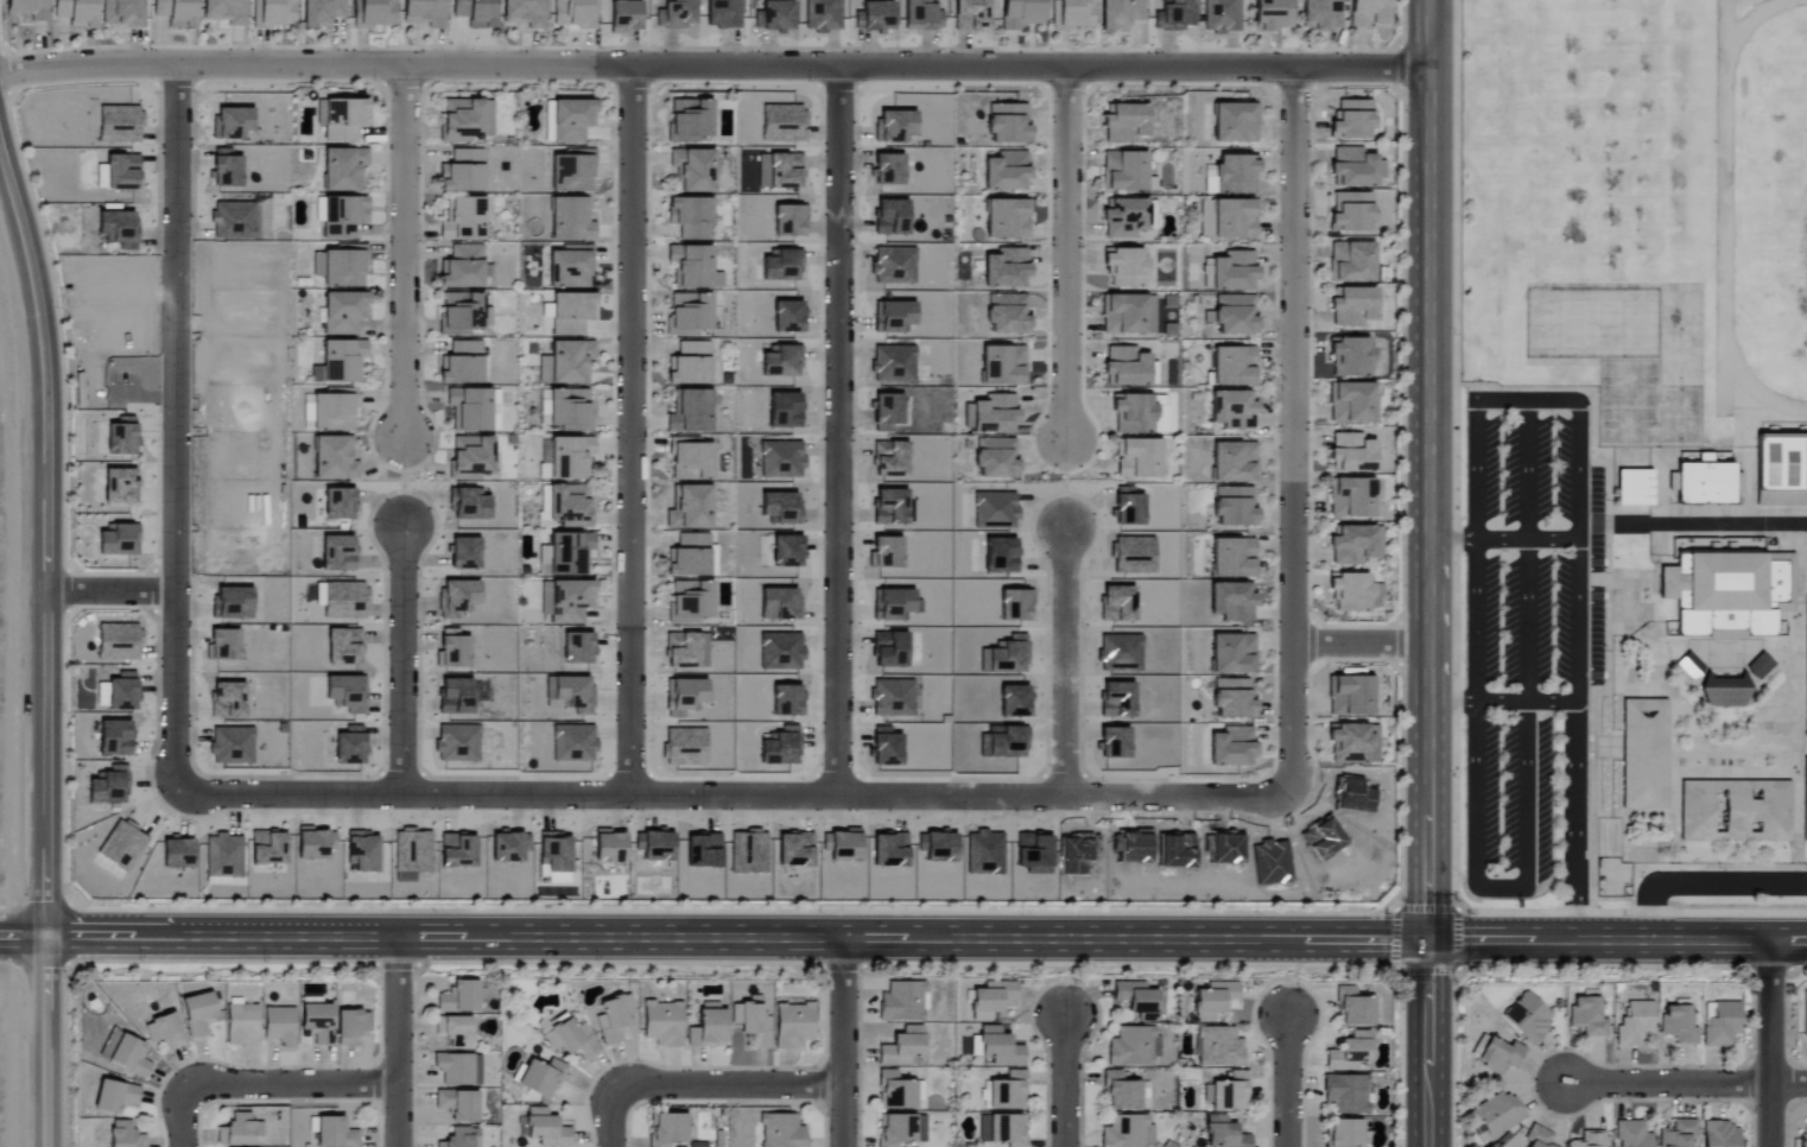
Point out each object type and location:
building: (27, 9)
building: (175, 12)
building: (224, 12)
building: (75, 13)
building: (121, 13)
building: (275, 13)
building: (319, 13)
building: (374, 13)
building: (424, 13)
building: (475, 13)
building: (524, 13)
building: (572, 13)
building: (676, 14)
building: (722, 14)
building: (1021, 14)
building: (1072, 14)
building: (1120, 14)
building: (1321, 14)
building: (1369, 14)
building: (823, 15)
building: (920, 15)
building: (970, 15)
building: (1175, 15)
building: (1273, 15)
building: (624, 17)
building: (774, 17)
building: (874, 17)
building: (1222, 17)
road: (712, 68)
park: (1554, 119)
building: (343, 120)
building: (467, 120)
building: (1352, 120)
building: (571, 121)
building: (689, 121)
building: (232, 123)
building: (781, 123)
building: (1126, 123)
building: (1236, 123)
building: (119, 125)
building: (894, 125)
building: (1008, 125)
building: (1352, 169)
building: (226, 170)
building: (343, 170)
building: (693, 170)
building: (887, 170)
building: (121, 171)
building: (784, 171)
building: (462, 172)
building: (572, 172)
building: (1007, 172)
building: (1124, 172)
building: (1232, 176)
park: (1758, 210)
building: (1351, 213)
building: (342, 217)
building: (690, 217)
building: (890, 217)
building: (1123, 218)
building: (463, 220)
building: (570, 220)
building: (1007, 220)
building: (1228, 220)
building: (232, 221)
building: (786, 221)
building: (116, 229)
road: (402, 252)
road: (1065, 254)
building: (1352, 264)
building: (341, 267)
building: (690, 267)
building: (1126, 267)
building: (462, 268)
building: (568, 270)
building: (1007, 270)
building: (1235, 272)
building: (1206, 273)
building: (1353, 308)
building: (343, 313)
building: (462, 313)
building: (571, 315)
building: (689, 315)
building: (1007, 315)
building: (1124, 315)
building: (1234, 316)
building: (1350, 359)
building: (342, 362)
building: (570, 362)
building: (461, 365)
building: (689, 365)
building: (1003, 367)
building: (1234, 367)
building: (1126, 368)
building: (543, 370)
building: (1351, 404)
building: (474, 410)
building: (569, 410)
building: (1234, 410)
building: (332, 411)
building: (690, 413)
building: (994, 416)
building: (1133, 416)
road: (1477, 418)
road: (179, 430)
road: (630, 431)
road: (838, 432)
road: (1295, 436)
building: (120, 438)
building: (1351, 455)
building: (470, 457)
building: (570, 458)
building: (334, 460)
building: (996, 460)
building: (1137, 460)
building: (690, 461)
building: (1235, 463)
road: (1527, 469)
building: (1781, 469)
building: (1704, 479)
building: (1631, 486)
building: (119, 487)
building: (1351, 499)
building: (337, 505)
building: (468, 505)
building: (564, 506)
building: (690, 508)
building: (1235, 508)
road: (1502, 538)
building: (118, 541)
building: (1355, 545)
road: (1579, 552)
building: (337, 555)
building: (463, 555)
building: (570, 555)
building: (689, 557)
building: (1234, 559)
building: (544, 562)
road: (1426, 573)
building: (1727, 587)
road: (114, 592)
building: (1355, 594)
building: (456, 598)
building: (566, 598)
building: (341, 601)
building: (690, 602)
building: (1232, 603)
building: (230, 604)
road: (1476, 620)
road: (1527, 620)
building: (118, 642)
road: (47, 645)
building: (222, 646)
building: (342, 647)
road: (1361, 647)
building: (452, 649)
building: (576, 649)
building: (681, 649)
building: (1234, 655)
road: (402, 659)
road: (1066, 665)
building: (1689, 665)
building: (1760, 665)
building: (1806, 672)
building: (1724, 690)
building: (121, 693)
building: (570, 693)
building: (345, 695)
building: (685, 696)
building: (1350, 697)
building: (455, 698)
building: (1232, 701)
building: (227, 702)
road: (1502, 702)
building: (114, 739)
building: (573, 743)
building: (457, 744)
building: (1350, 744)
building: (232, 746)
building: (350, 748)
building: (684, 748)
building: (1232, 748)
building: (1644, 752)
building: (107, 786)
road: (729, 796)
building: (1805, 798)
building: (1735, 810)
road: (1578, 822)
building: (313, 843)
building: (122, 845)
building: (508, 847)
building: (608, 847)
building: (267, 848)
building: (456, 850)
building: (361, 851)
building: (176, 853)
building: (411, 855)
building: (223, 856)
building: (554, 856)
road: (1704, 887)
road: (1502, 888)
road: (24, 934)
road: (926, 940)
road: (1456, 969)
building: (458, 997)
building: (991, 1000)
building: (1136, 1000)
building: (1213, 1000)
building: (901, 1002)
building: (1353, 1008)
building: (197, 1014)
building: (1586, 1016)
building: (1527, 1018)
building: (613, 1019)
building: (1805, 1020)
building: (316, 1022)
building: (752, 1022)
building: (240, 1024)
building: (662, 1024)
building: (1635, 1024)
building: (1678, 1024)
building: (793, 1025)
building: (279, 1026)
building: (349, 1026)
building: (708, 1029)
building: (164, 1031)
building: (454, 1031)
building: (570, 1039)
road: (395, 1041)
road: (843, 1043)
road: (1769, 1043)
building: (901, 1047)
building: (1000, 1047)
building: (1131, 1047)
building: (1217, 1047)
building: (1350, 1052)
building: (125, 1053)
building: (1500, 1056)
building: (458, 1069)
building: (541, 1077)
road: (1063, 1081)
road: (1285, 1081)
road: (1685, 1083)
road: (289, 1085)
road: (734, 1086)
building: (895, 1091)
building: (1007, 1091)
building: (1121, 1091)
building: (1226, 1092)
building: (1346, 1094)
building: (114, 1096)
building: (457, 1104)
road: (610, 1114)
building: (1498, 1114)
road: (182, 1121)
building: (545, 1128)
building: (666, 1129)
building: (900, 1129)
building: (1007, 1129)
building: (781, 1130)
building: (1127, 1132)
building: (334, 1133)
building: (1224, 1133)
building: (1344, 1133)
building: (1632, 1134)
building: (1678, 1134)
building: (123, 1135)
building: (1720, 1135)
building: (1537, 1136)
building: (462, 1138)
building: (1589, 1139)

